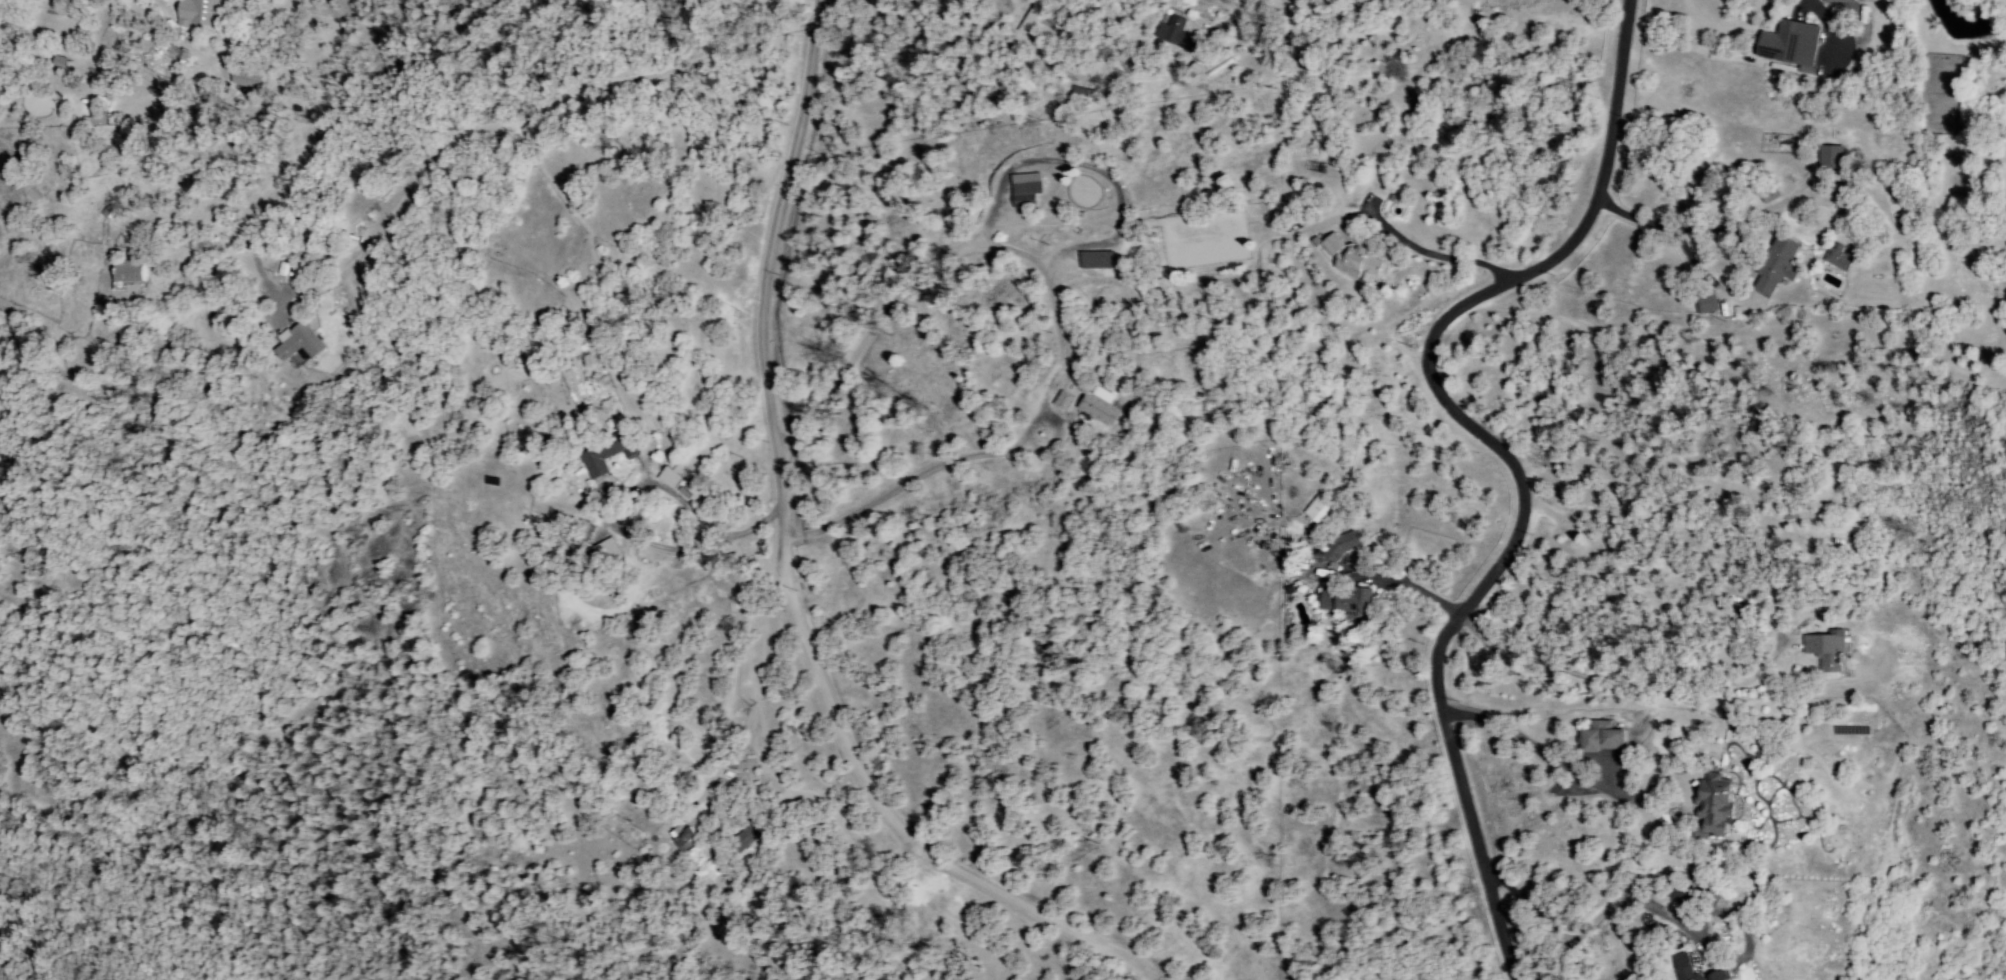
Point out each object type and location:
building: (1840, 1)
building: (199, 12)
building: (1176, 33)
building: (1791, 44)
road: (549, 110)
building: (1832, 157)
building: (1026, 190)
road: (239, 243)
building: (1334, 245)
building: (1132, 250)
building: (1841, 258)
building: (1097, 260)
building: (1359, 263)
building: (1778, 266)
building: (130, 273)
road: (1711, 285)
road: (1051, 304)
building: (1706, 304)
road: (1444, 318)
building: (299, 343)
building: (1064, 401)
building: (1099, 406)
building: (604, 455)
building: (670, 478)
building: (1321, 511)
building: (1342, 545)
road: (687, 549)
building: (601, 554)
road: (776, 570)
building: (1345, 601)
building: (1832, 655)
road: (1514, 737)
building: (1606, 740)
building: (1720, 808)
road: (1468, 813)
building: (689, 833)
building: (745, 839)
building: (1688, 903)
building: (1688, 959)

